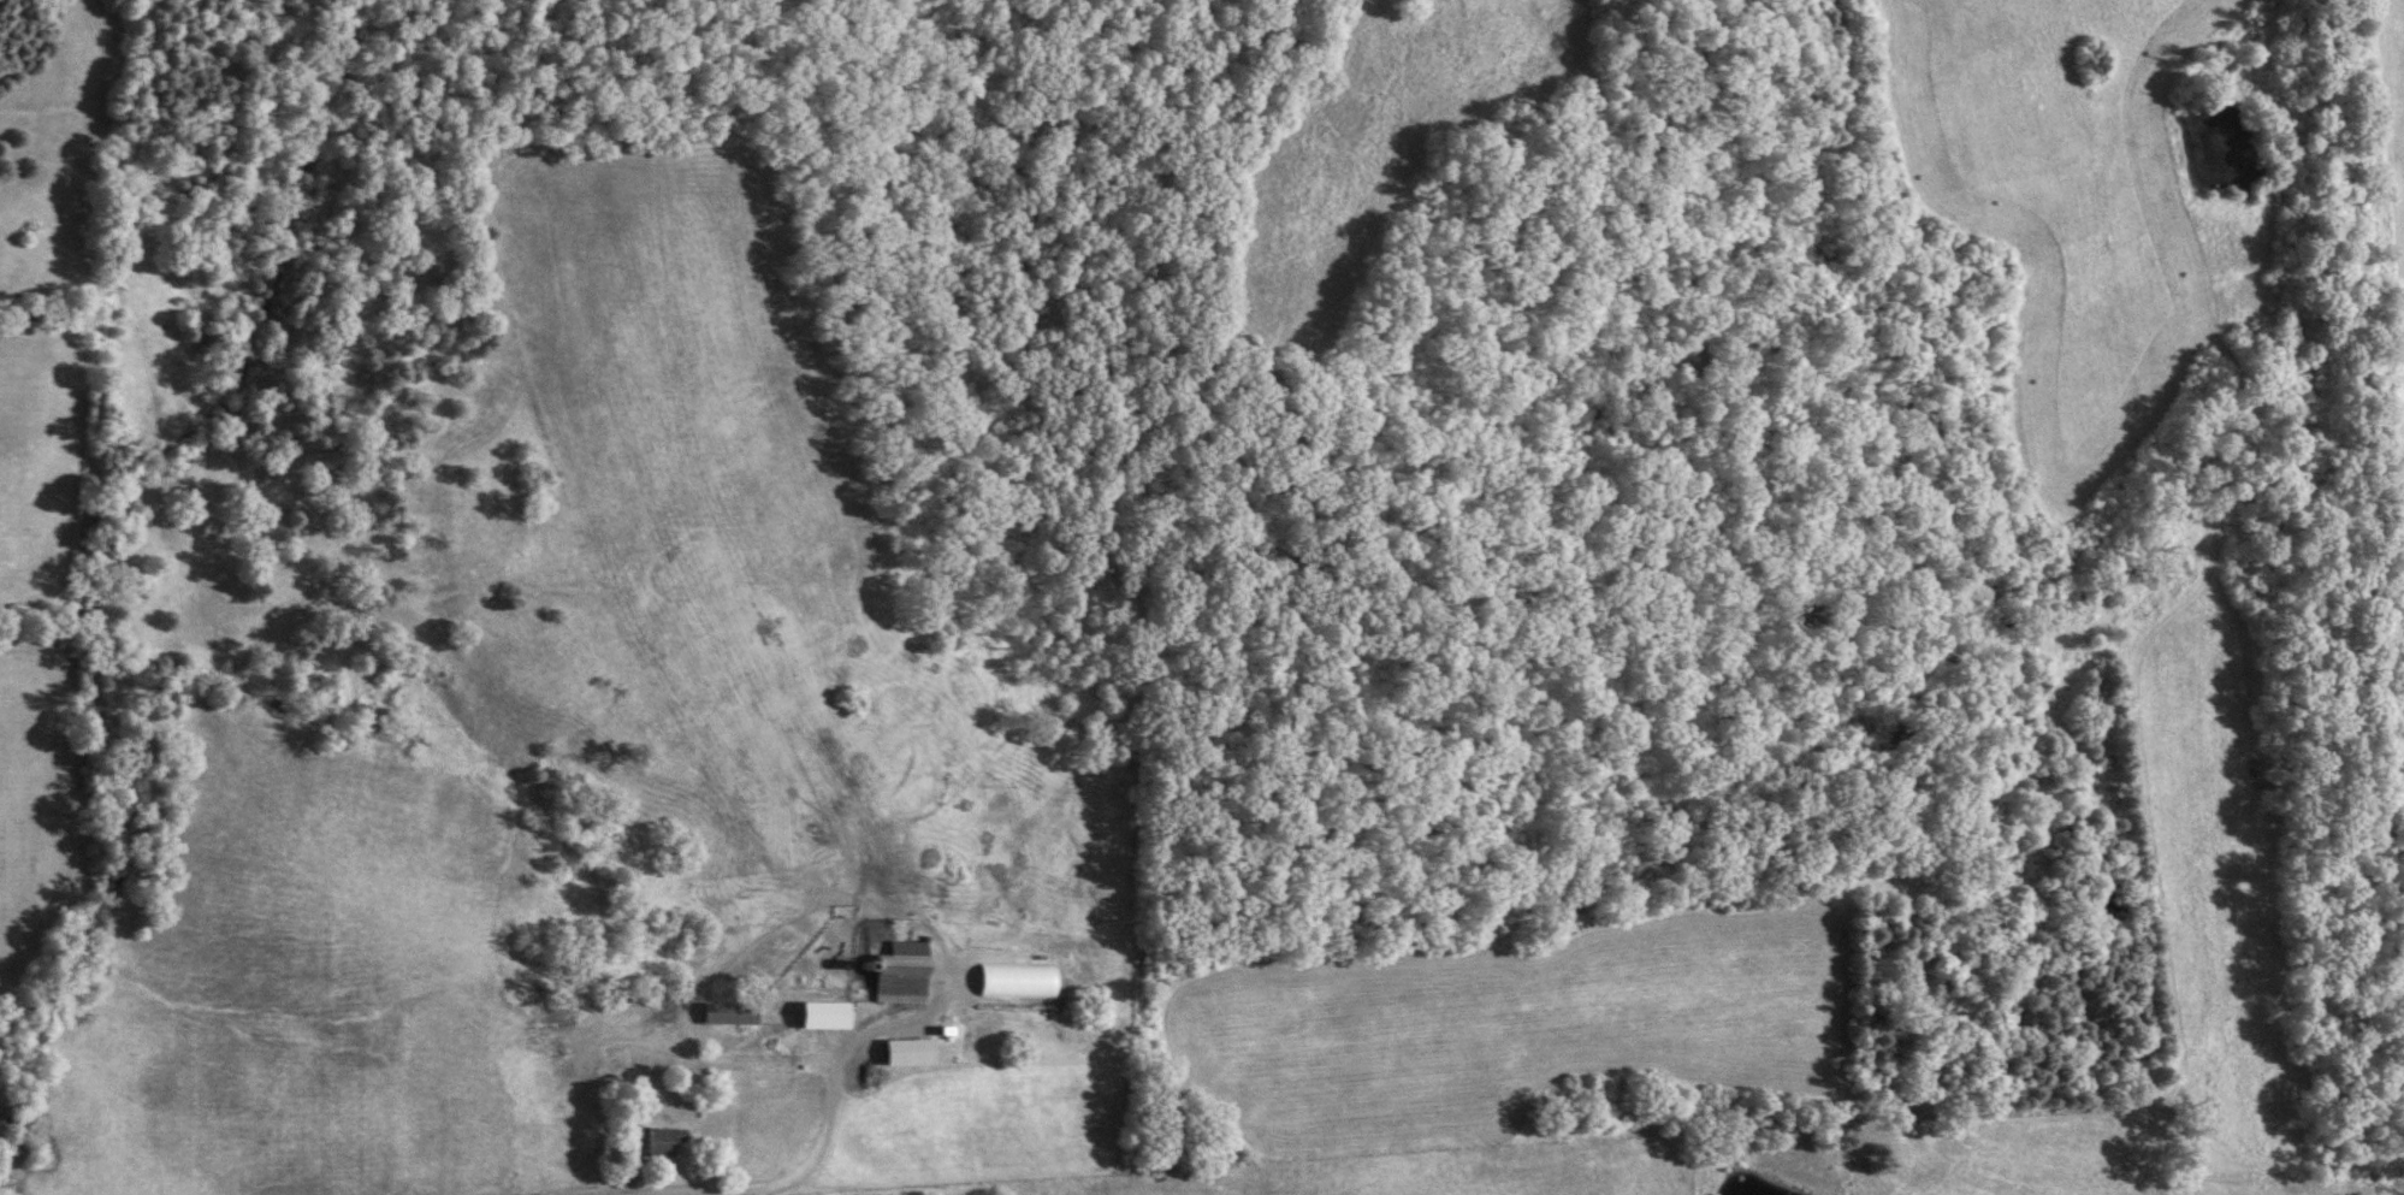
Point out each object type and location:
building: (1072, 970)
building: (895, 977)
building: (726, 1013)
building: (818, 1016)
building: (901, 1052)
road: (835, 1071)
building: (628, 1134)
building: (658, 1141)
road: (709, 1191)

